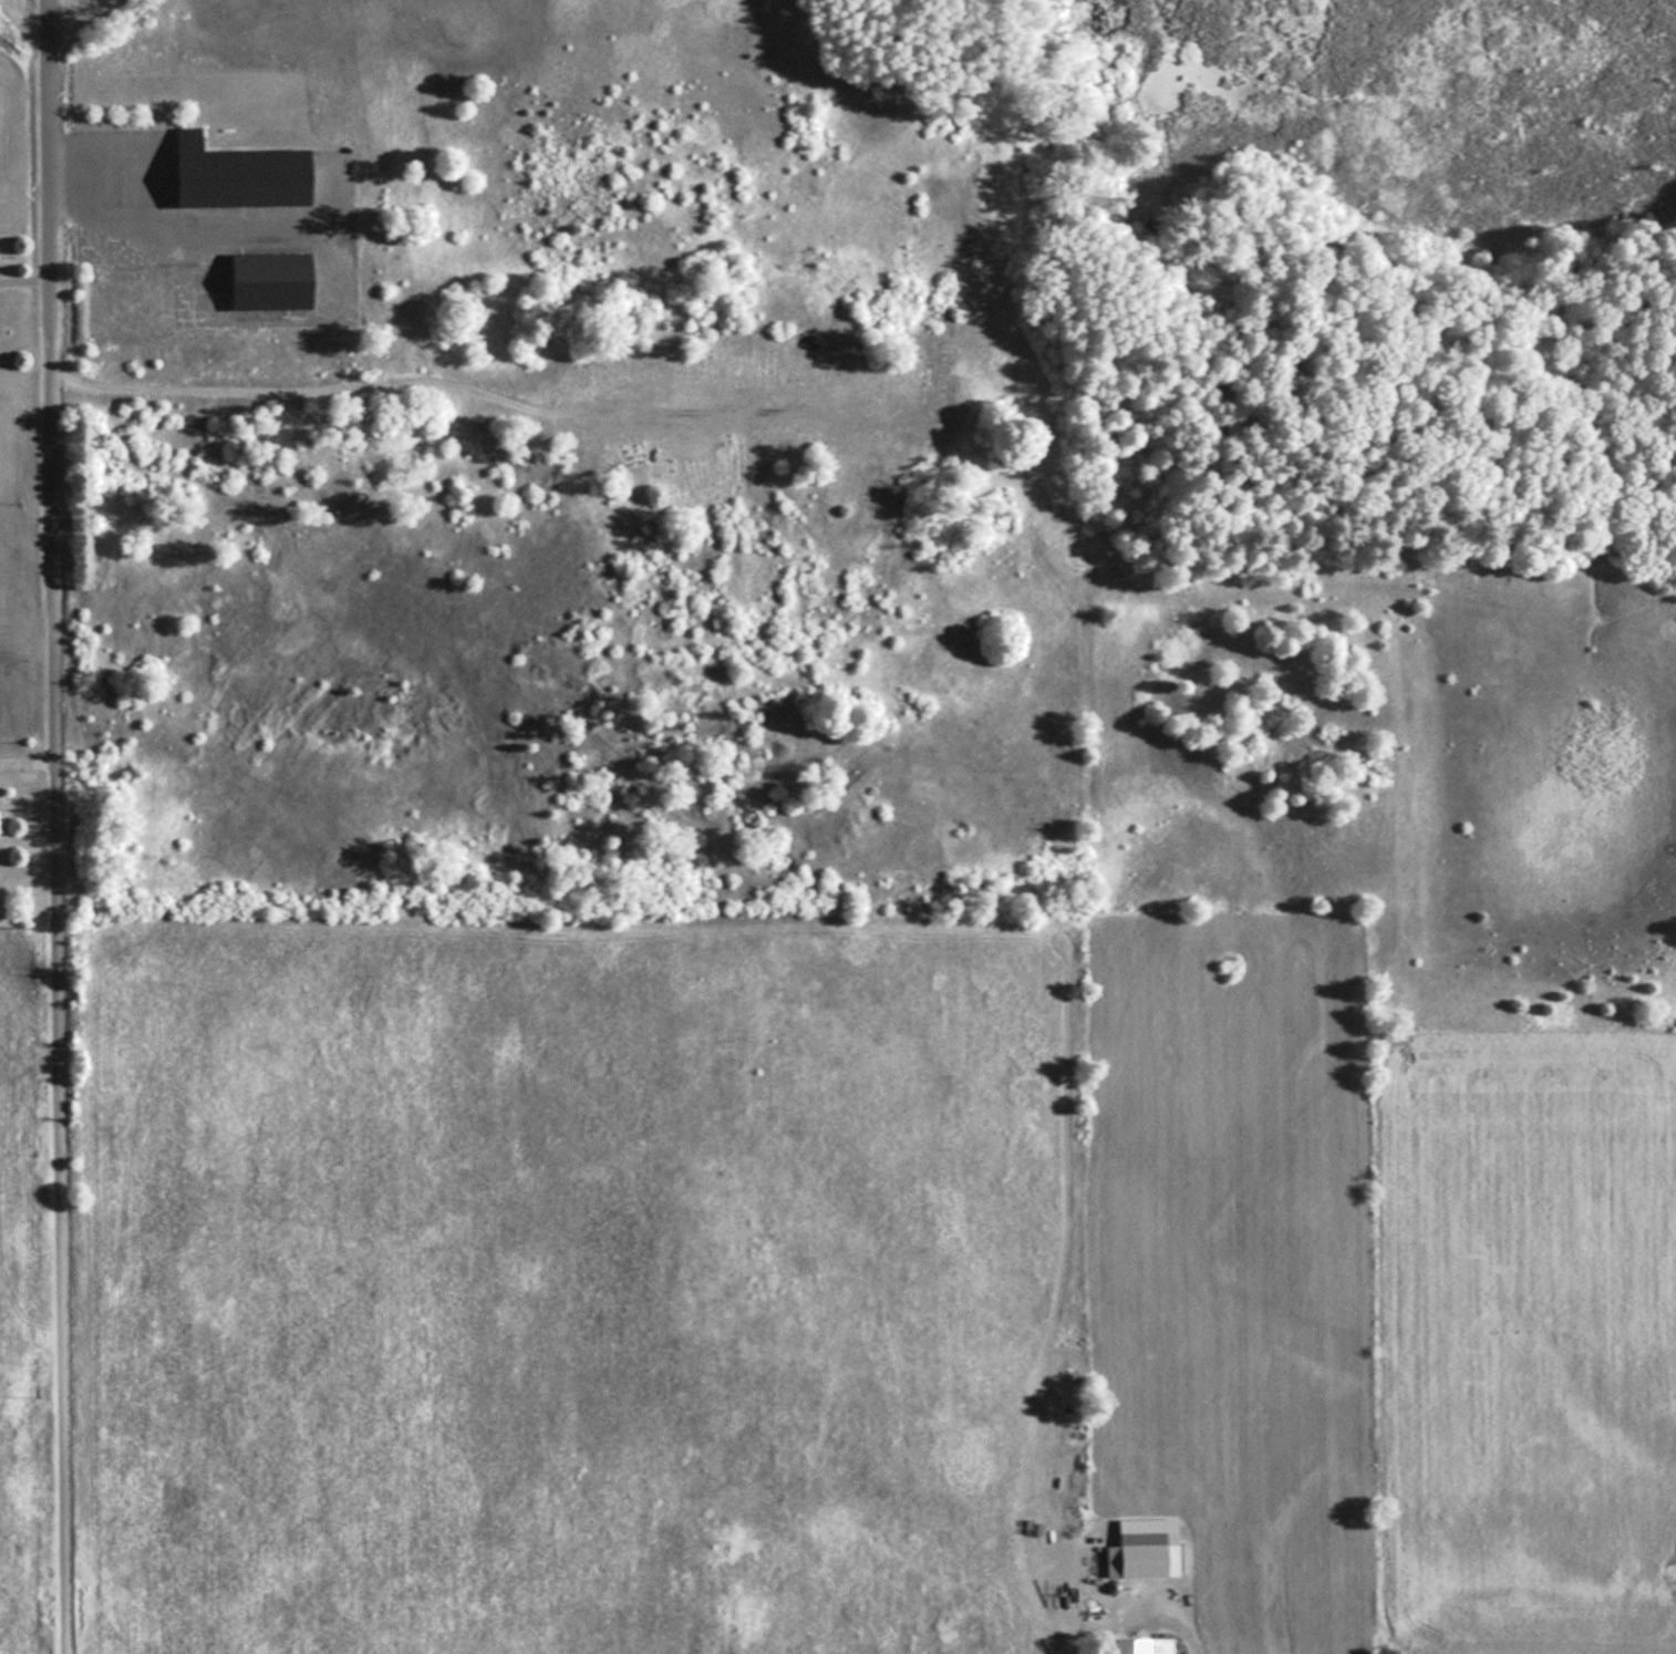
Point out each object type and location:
building: (231, 173)
road: (43, 174)
road: (99, 178)
road: (22, 279)
building: (265, 280)
road: (56, 1001)
building: (1136, 1557)
building: (1129, 1645)

